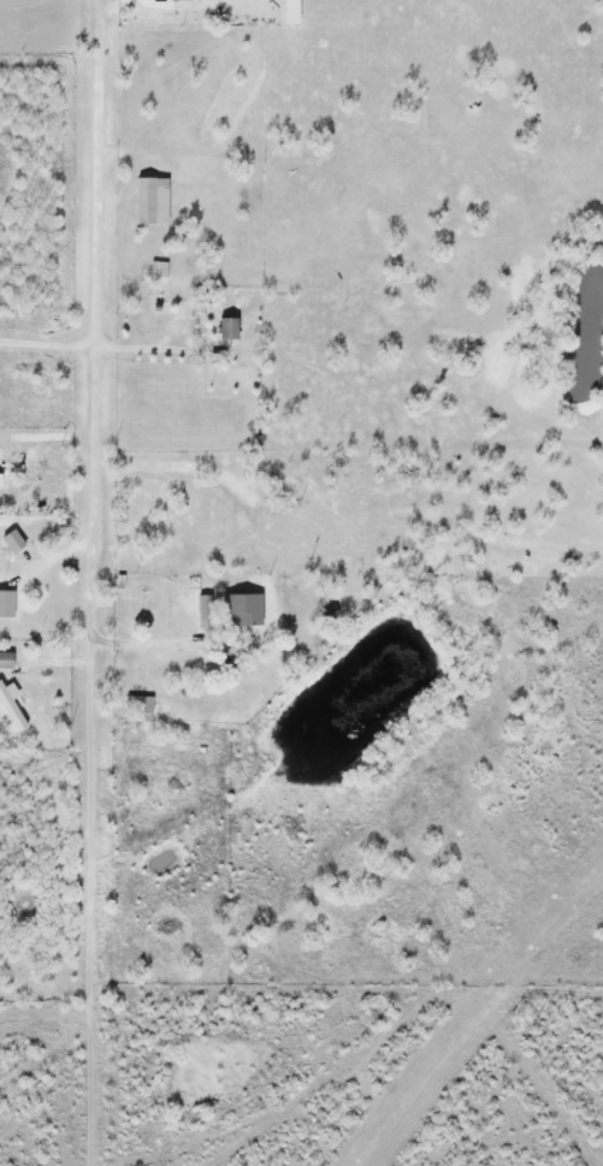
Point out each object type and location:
building: (179, 0)
building: (153, 200)
building: (160, 272)
road: (97, 302)
building: (0, 479)
building: (14, 540)
building: (235, 562)
building: (7, 603)
building: (244, 609)
building: (205, 611)
building: (7, 659)
building: (12, 705)
building: (142, 705)

